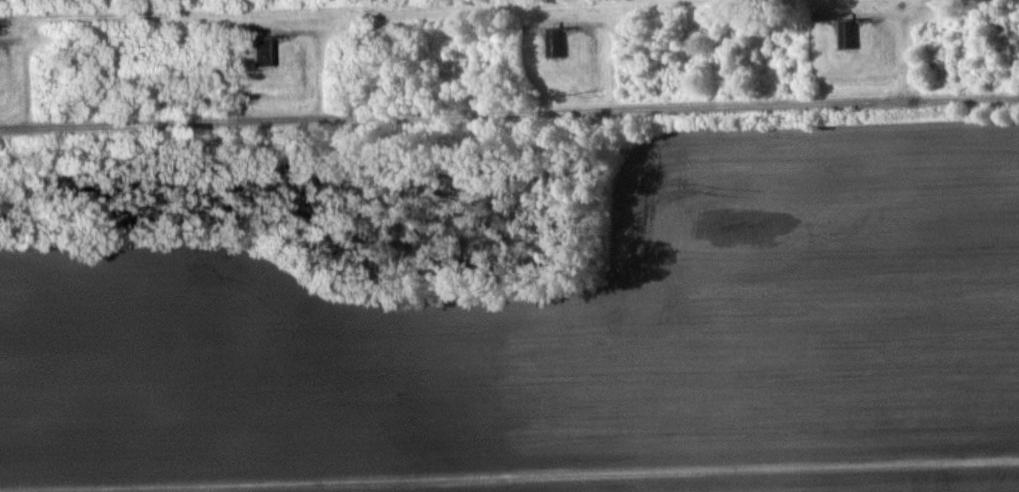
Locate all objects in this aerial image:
road: (509, 118)

